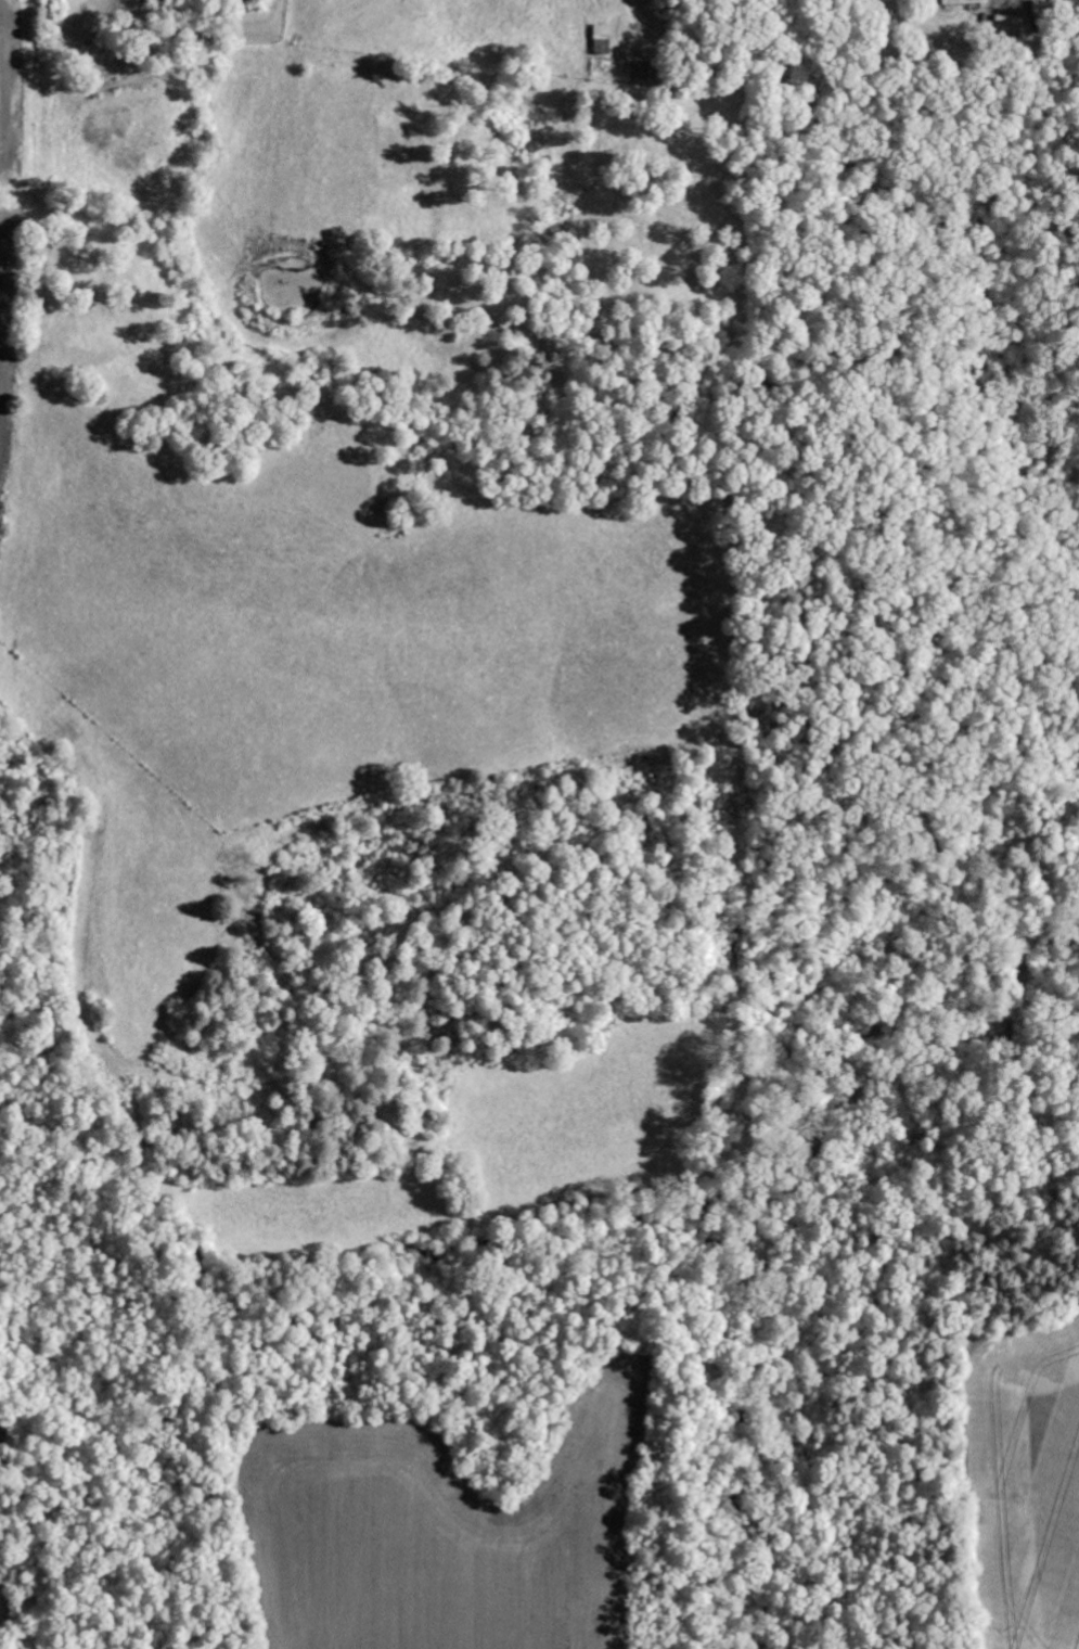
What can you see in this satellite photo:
building: (962, 2)
building: (635, 71)

